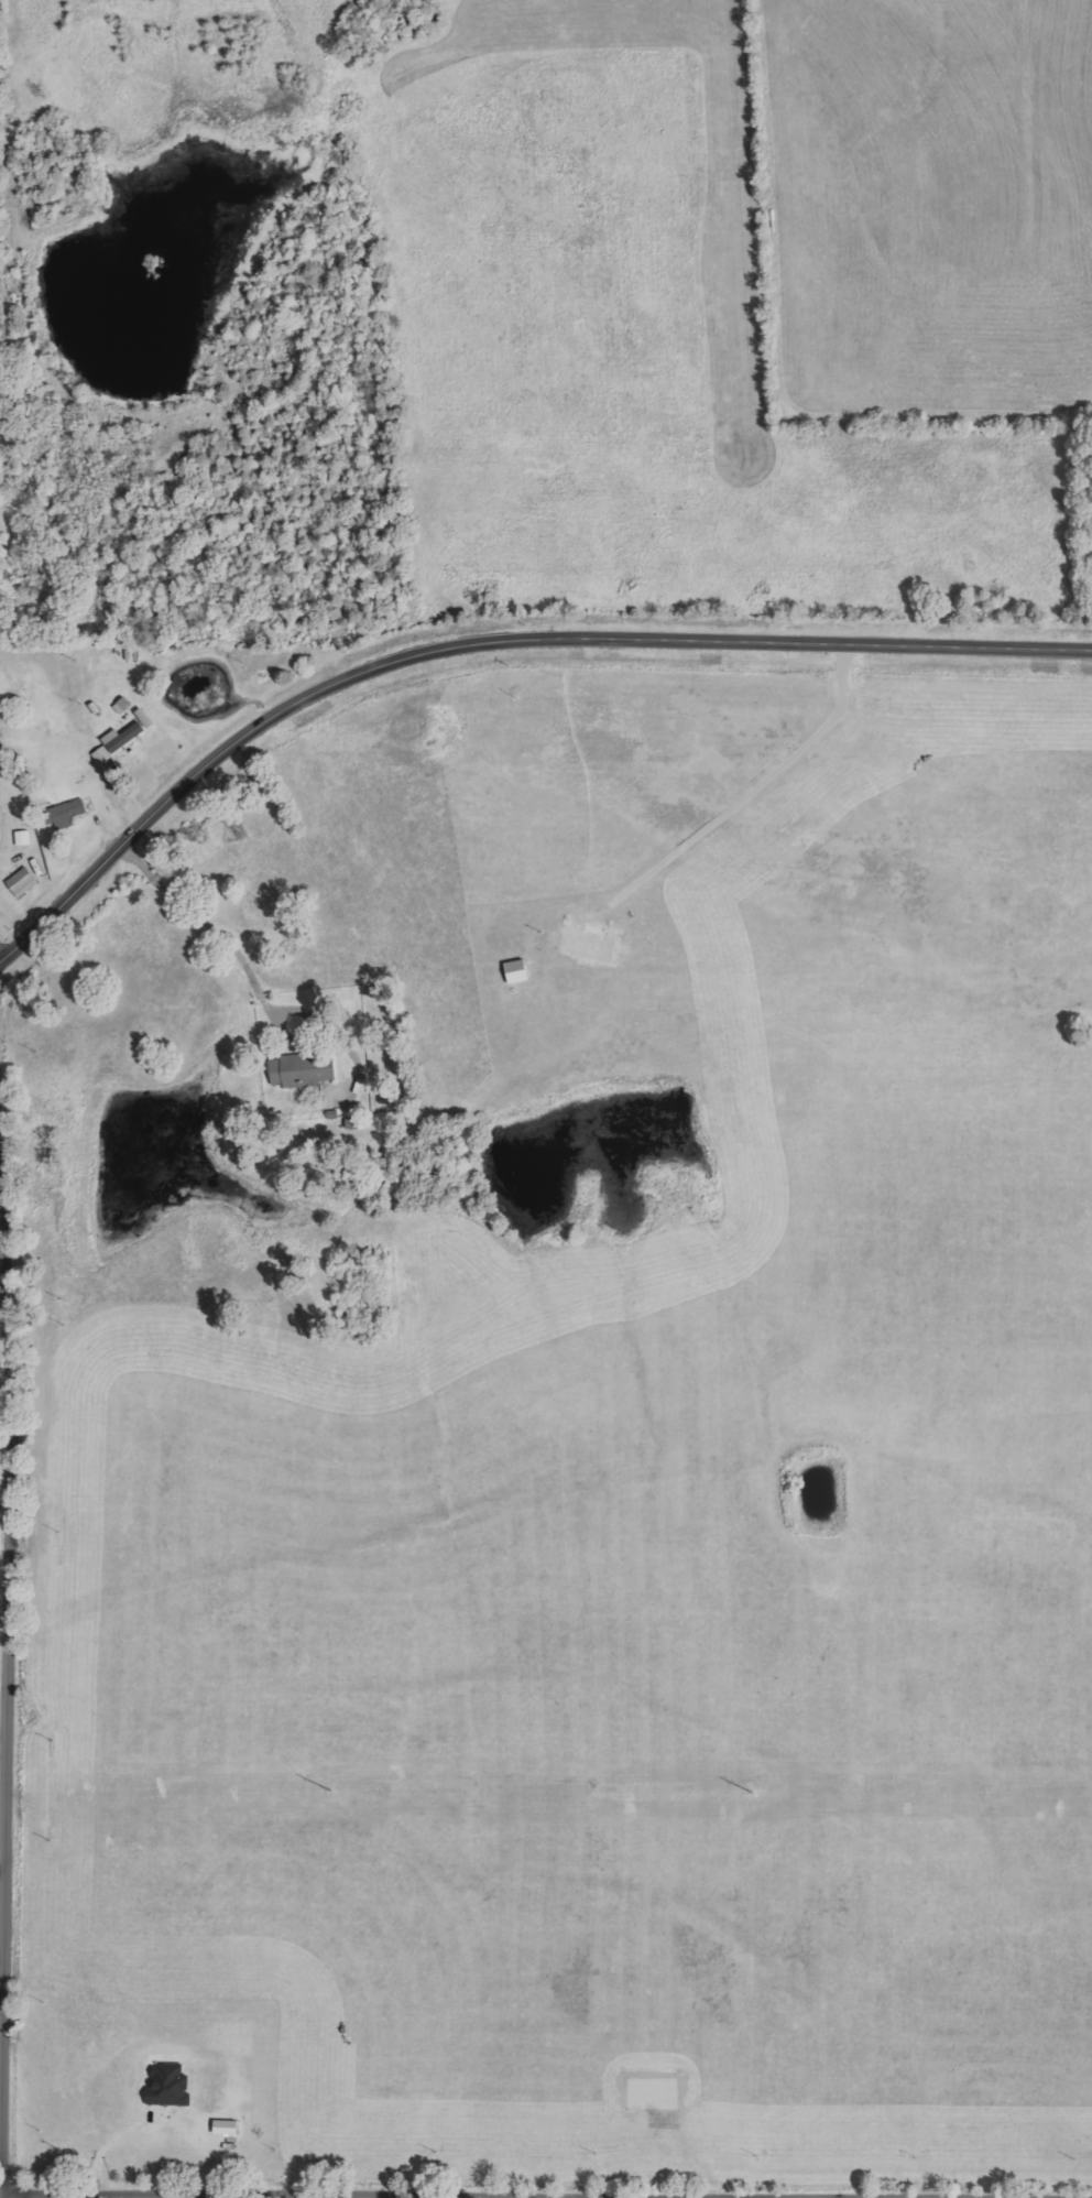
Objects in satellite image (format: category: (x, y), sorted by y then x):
road: (490, 638)
building: (105, 755)
building: (68, 814)
building: (24, 837)
building: (24, 882)
road: (207, 924)
building: (306, 1069)
road: (7, 1626)
power tower: (330, 1791)
power tower: (752, 1794)
road: (211, 2196)

